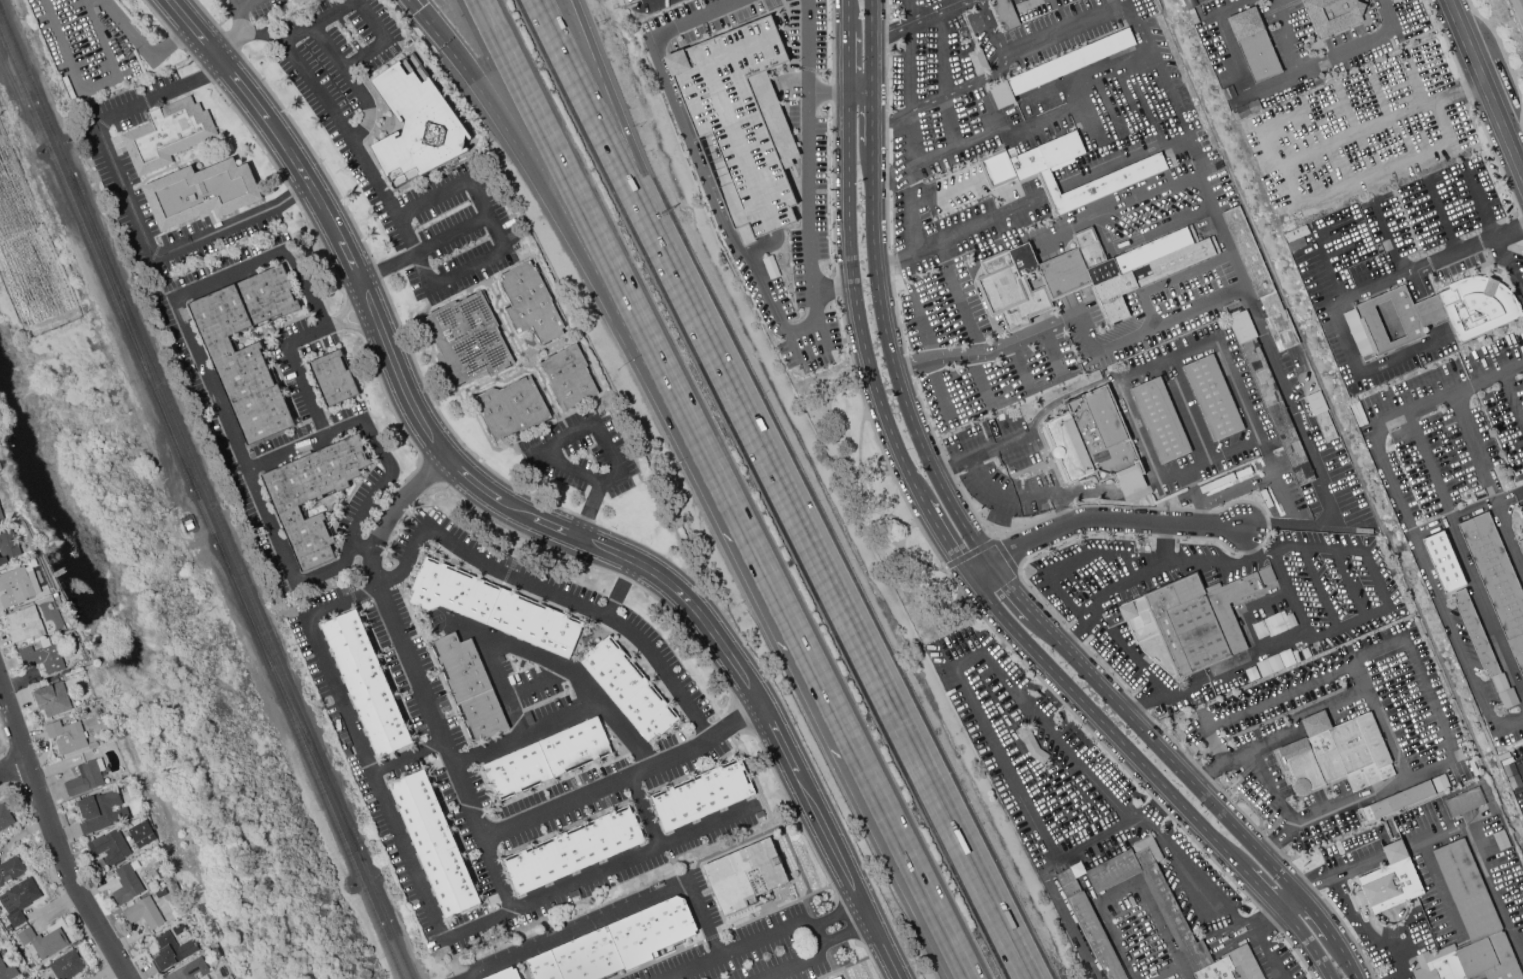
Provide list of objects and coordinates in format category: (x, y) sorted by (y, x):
road: (1115, 1)
building: (1190, 3)
road: (239, 4)
road: (248, 4)
road: (1026, 4)
road: (153, 13)
building: (1004, 14)
building: (1333, 14)
road: (208, 15)
road: (226, 15)
road: (848, 15)
building: (1193, 16)
road: (919, 18)
road: (371, 21)
road: (1135, 24)
road: (989, 25)
road: (1060, 25)
road: (240, 33)
road: (1285, 34)
road: (174, 38)
road: (264, 38)
road: (138, 40)
road: (230, 42)
road: (1360, 42)
parking lot: (93, 45)
building: (1254, 45)
road: (871, 46)
road: (1003, 55)
road: (909, 56)
road: (293, 58)
road: (1237, 58)
road: (191, 59)
building: (977, 61)
road: (1506, 61)
road: (848, 62)
road: (808, 65)
building: (1060, 66)
road: (208, 70)
road: (206, 76)
road: (943, 78)
road: (1364, 83)
road: (790, 84)
road: (93, 88)
road: (960, 89)
road: (1052, 89)
road: (1484, 89)
railway: (37, 94)
road: (859, 94)
road: (871, 120)
road: (891, 120)
building: (416, 122)
road: (624, 122)
building: (740, 123)
road: (604, 124)
building: (169, 135)
road: (958, 140)
road: (313, 154)
road: (694, 156)
road: (1141, 157)
building: (1219, 164)
building: (1015, 173)
road: (911, 182)
road: (795, 187)
building: (202, 192)
road: (546, 193)
road: (576, 197)
road: (284, 198)
road: (130, 201)
road: (1481, 202)
road: (1122, 208)
road: (807, 209)
road: (484, 213)
building: (1414, 220)
road: (1442, 220)
road: (985, 221)
building: (1296, 233)
road: (451, 235)
road: (760, 247)
road: (1468, 249)
crop: (29, 256)
railway: (95, 256)
road: (392, 265)
road: (946, 265)
building: (771, 266)
road: (1335, 268)
road: (1509, 268)
road: (377, 272)
building: (1083, 273)
building: (1261, 280)
road: (362, 284)
road: (1420, 285)
road: (833, 287)
road: (857, 300)
building: (531, 303)
building: (1478, 307)
building: (1429, 310)
road: (1431, 310)
road: (342, 312)
building: (1383, 324)
road: (346, 325)
road: (921, 327)
railway: (132, 330)
road: (1439, 330)
road: (1140, 333)
building: (467, 338)
road: (1216, 339)
road: (1345, 340)
building: (248, 349)
road: (1055, 353)
road: (1021, 363)
road: (893, 365)
road: (907, 365)
road: (979, 374)
road: (1489, 375)
building: (568, 377)
building: (334, 379)
road: (941, 388)
building: (1270, 393)
building: (1213, 398)
road: (1510, 399)
building: (511, 408)
road: (1187, 409)
building: (1358, 413)
building: (1321, 415)
road: (926, 419)
building: (1161, 421)
road: (447, 425)
road: (601, 436)
building: (1088, 438)
road: (1477, 441)
road: (285, 445)
road: (1309, 453)
parking lot: (547, 462)
road: (946, 468)
road: (1272, 472)
building: (1130, 480)
road: (1194, 487)
road: (1104, 490)
road: (1228, 493)
building: (314, 496)
road: (1023, 497)
building: (1522, 501)
road: (1130, 506)
road: (530, 507)
railway: (214, 511)
road: (1197, 511)
road: (1061, 512)
building: (1, 514)
road: (501, 514)
railway: (205, 516)
road: (581, 517)
road: (1108, 521)
building: (1522, 521)
road: (1503, 522)
road: (275, 523)
road: (988, 535)
road: (944, 537)
road: (985, 543)
road: (364, 544)
road: (1248, 544)
building: (1520, 545)
building: (8, 546)
road: (1421, 547)
road: (1463, 553)
road: (1086, 558)
building: (1445, 562)
building: (33, 563)
road: (978, 571)
road: (762, 576)
building: (1497, 580)
road: (1349, 584)
building: (18, 586)
road: (1321, 588)
road: (1009, 590)
road: (551, 592)
road: (618, 593)
road: (1290, 598)
building: (494, 607)
road: (847, 613)
building: (1189, 622)
building: (25, 625)
building: (1273, 625)
road: (1077, 633)
road: (1072, 637)
building: (1480, 642)
road: (1284, 650)
road: (531, 652)
building: (44, 656)
road: (1104, 671)
building: (1250, 674)
road: (500, 682)
building: (365, 683)
road: (540, 684)
road: (1303, 684)
road: (1351, 684)
building: (469, 687)
building: (630, 689)
road: (1015, 690)
railway: (287, 697)
building: (53, 699)
road: (1133, 702)
road: (1146, 702)
road: (563, 719)
road: (1435, 719)
road: (1101, 721)
road: (1315, 723)
building: (70, 738)
road: (1272, 742)
building: (1031, 745)
road: (1164, 753)
building: (1337, 754)
road: (407, 757)
building: (547, 759)
road: (12, 766)
railway: (311, 766)
road: (1404, 771)
road: (459, 776)
building: (86, 778)
road: (1267, 786)
building: (1436, 789)
building: (702, 796)
road: (1062, 799)
building: (1471, 799)
building: (1398, 801)
road: (645, 811)
building: (102, 812)
building: (5, 816)
road: (1463, 830)
building: (143, 834)
road: (52, 840)
building: (434, 843)
building: (111, 847)
building: (575, 851)
building: (1147, 852)
building: (100, 863)
road: (498, 866)
building: (11, 869)
road: (913, 869)
building: (161, 870)
building: (1113, 871)
building: (745, 876)
building: (1390, 882)
road: (1136, 883)
building: (128, 884)
building: (1068, 884)
road: (1257, 885)
building: (177, 887)
building: (161, 893)
building: (20, 899)
road: (424, 900)
road: (1287, 900)
building: (1168, 906)
railway: (383, 910)
building: (145, 913)
road: (1314, 914)
road: (615, 915)
road: (1355, 919)
road: (1071, 921)
building: (1469, 926)
building: (180, 929)
road: (822, 931)
building: (1096, 937)
building: (44, 941)
road: (1307, 941)
building: (617, 944)
road: (1212, 947)
road: (745, 949)
road: (1265, 951)
building: (172, 952)
building: (1198, 957)
road: (1343, 958)
road: (798, 961)
building: (1243, 961)
building: (67, 965)
building: (7, 970)
building: (190, 970)
building: (1222, 971)
road: (1184, 972)
building: (504, 974)
building: (206, 978)
building: (837, 978)

